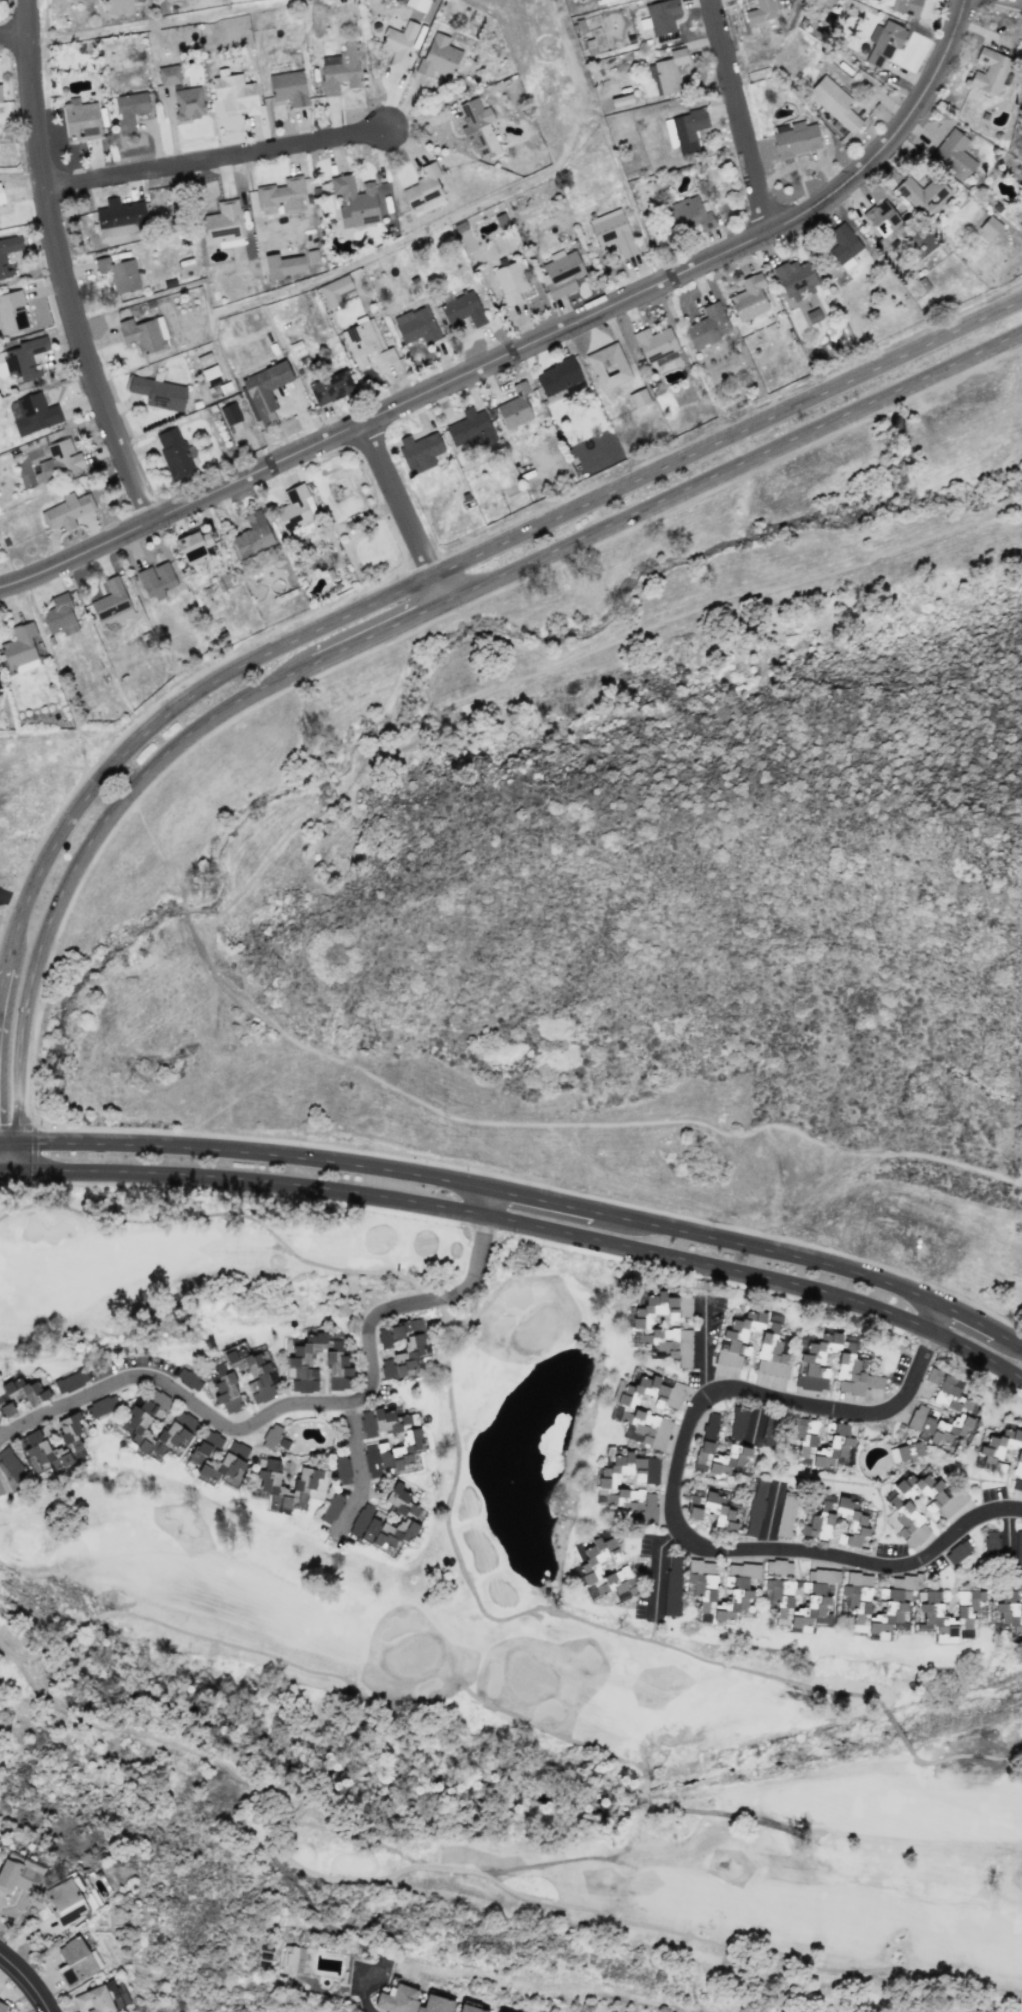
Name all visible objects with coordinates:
road: (1020, 0)
building: (417, 4)
building: (118, 6)
building: (904, 6)
building: (760, 11)
building: (662, 17)
road: (13, 35)
building: (884, 41)
building: (398, 43)
building: (438, 56)
building: (340, 69)
building: (669, 70)
building: (989, 70)
building: (168, 74)
building: (289, 87)
building: (235, 93)
building: (188, 102)
building: (834, 102)
building: (129, 110)
road: (736, 115)
building: (81, 118)
building: (478, 127)
building: (685, 129)
building: (796, 138)
building: (954, 153)
road: (214, 159)
building: (423, 186)
building: (922, 193)
building: (281, 195)
building: (0, 200)
building: (355, 201)
building: (689, 214)
building: (120, 216)
building: (884, 220)
building: (222, 224)
building: (1020, 224)
building: (989, 226)
building: (613, 231)
building: (842, 242)
building: (312, 255)
building: (283, 265)
road: (59, 266)
building: (1, 272)
building: (561, 272)
building: (119, 273)
building: (795, 279)
building: (510, 281)
building: (334, 289)
building: (748, 297)
building: (463, 309)
building: (12, 311)
building: (416, 325)
building: (707, 326)
building: (144, 334)
road: (525, 343)
building: (654, 343)
building: (376, 344)
building: (22, 358)
building: (608, 366)
building: (558, 376)
building: (331, 387)
building: (265, 390)
building: (158, 392)
building: (638, 397)
building: (514, 407)
building: (33, 413)
building: (230, 413)
building: (471, 428)
road: (727, 434)
building: (419, 451)
building: (175, 453)
building: (59, 461)
road: (734, 468)
building: (335, 492)
road: (394, 497)
building: (67, 508)
building: (294, 508)
building: (253, 534)
park: (373, 539)
building: (193, 546)
building: (156, 579)
road: (438, 587)
building: (111, 601)
building: (60, 615)
building: (20, 647)
road: (159, 714)
road: (128, 794)
road: (12, 894)
road: (218, 916)
road: (3, 1136)
road: (3, 1139)
traffic signals: (6, 1139)
road: (251, 1149)
road: (3, 1153)
road: (0, 1168)
traffic signals: (1, 1168)
road: (246, 1176)
road: (492, 1200)
road: (220, 1212)
road: (724, 1235)
road: (715, 1263)
road: (943, 1316)
road: (985, 1323)
building: (652, 1328)
building: (384, 1337)
building: (731, 1342)
building: (405, 1350)
road: (979, 1353)
building: (852, 1362)
building: (298, 1364)
building: (259, 1376)
building: (188, 1379)
building: (26, 1390)
building: (258, 1395)
building: (157, 1397)
road: (295, 1404)
building: (961, 1407)
building: (7, 1409)
building: (636, 1414)
building: (738, 1422)
building: (710, 1423)
building: (136, 1425)
building: (769, 1428)
building: (271, 1436)
building: (35, 1440)
building: (841, 1442)
building: (411, 1443)
building: (905, 1451)
building: (719, 1457)
building: (991, 1458)
building: (203, 1461)
building: (11, 1463)
road: (359, 1467)
building: (309, 1483)
building: (606, 1485)
road: (673, 1501)
building: (711, 1509)
building: (782, 1511)
building: (902, 1511)
building: (408, 1514)
building: (754, 1515)
road: (769, 1518)
building: (820, 1520)
road: (1005, 1532)
building: (991, 1543)
building: (1018, 1545)
building: (957, 1551)
road: (657, 1564)
building: (778, 1566)
building: (604, 1568)
building: (822, 1575)
building: (907, 1581)
building: (672, 1591)
building: (741, 1592)
building: (797, 1603)
building: (855, 1604)
road: (539, 1607)
building: (1009, 1610)
park: (490, 1613)
building: (929, 1615)
road: (84, 1625)
building: (965, 1633)
road: (253, 1650)
road: (38, 1653)
road: (896, 1729)
road: (318, 1747)
road: (955, 1755)
building: (32, 1866)
building: (17, 1877)
building: (61, 1890)
road: (583, 1908)
building: (79, 1956)
building: (288, 1959)
road: (27, 1981)
road: (365, 1992)
building: (93, 2000)
building: (410, 2001)
building: (2, 2007)
building: (470, 2008)

